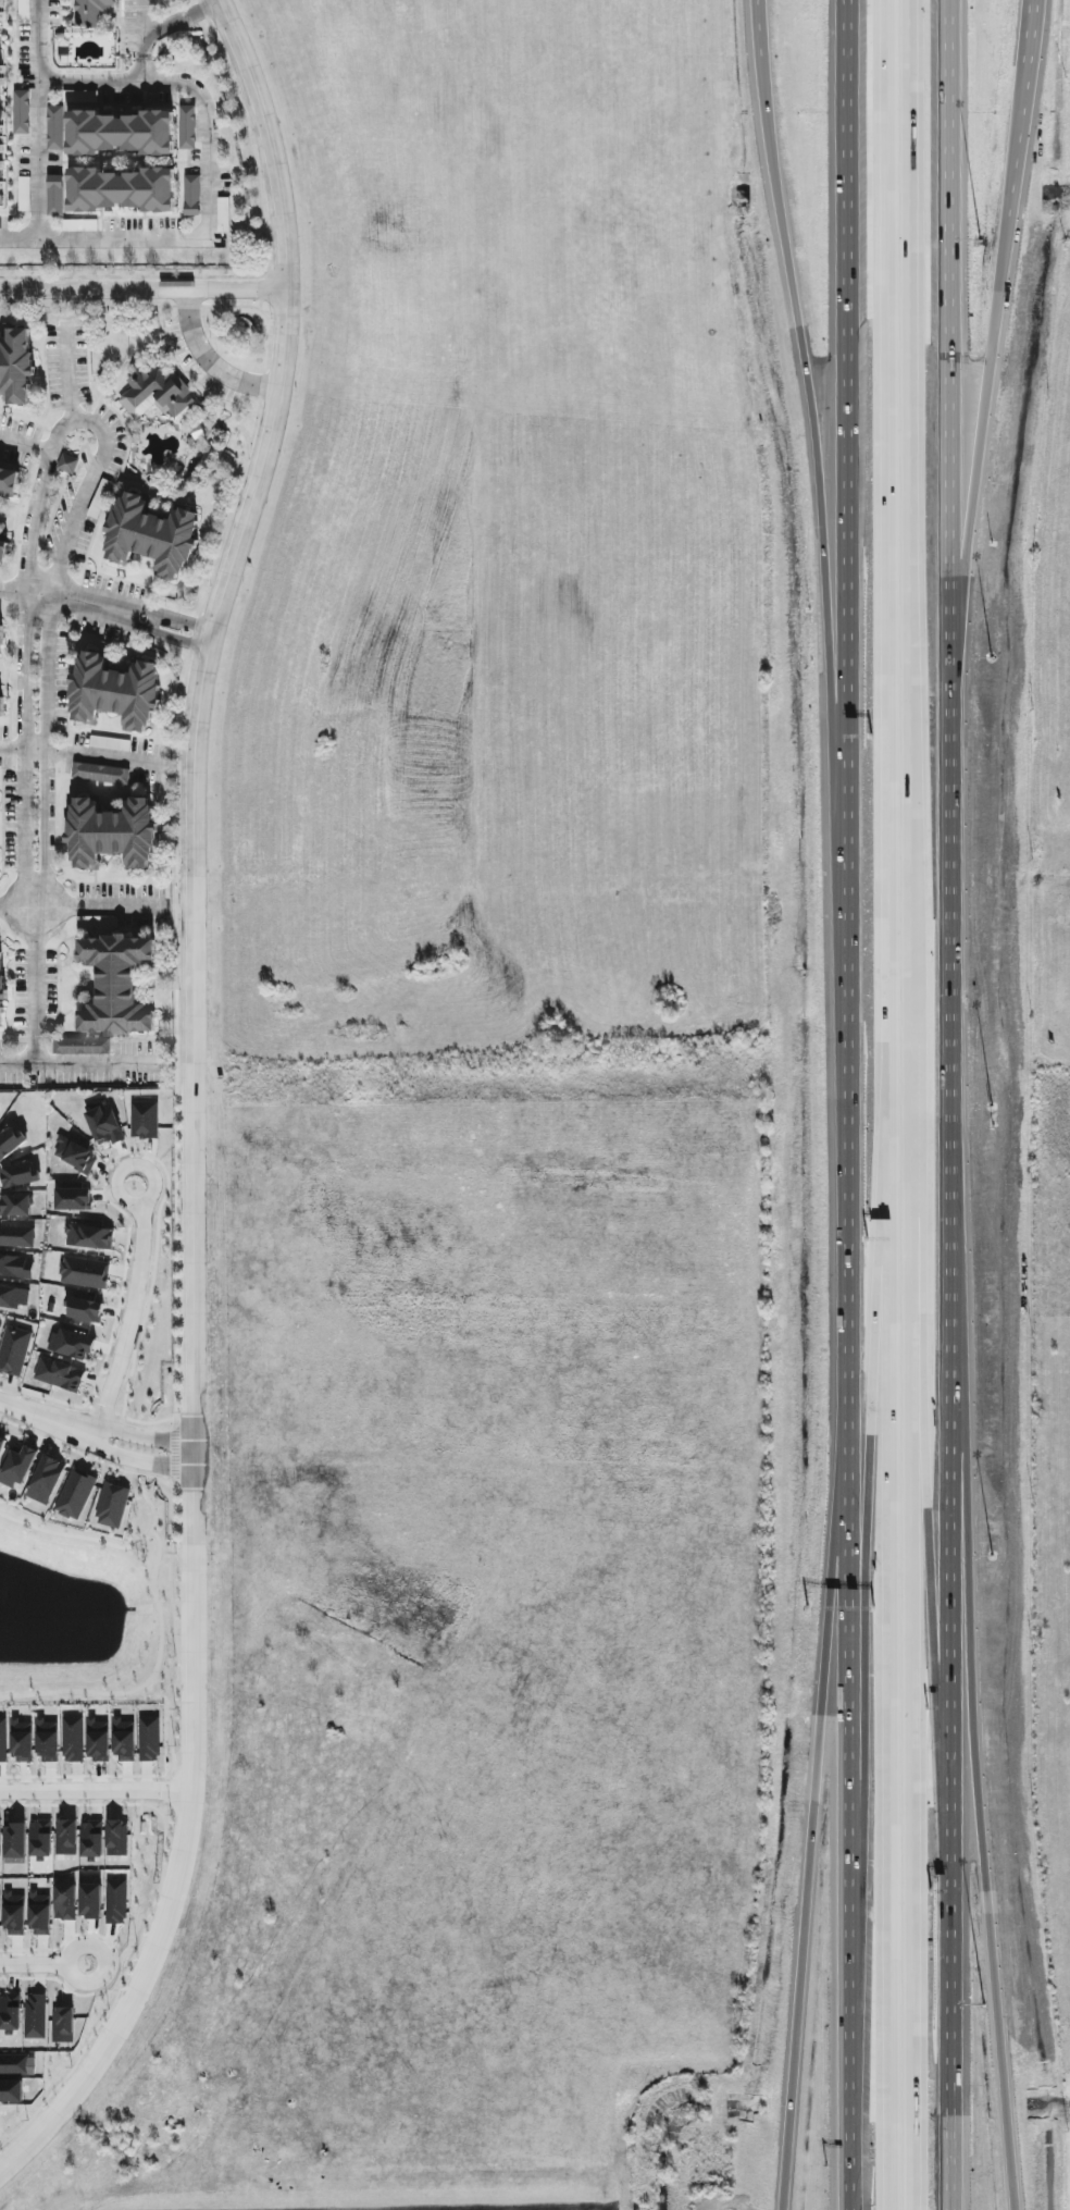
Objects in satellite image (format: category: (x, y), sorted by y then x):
building: (22, 9)
building: (91, 11)
road: (757, 17)
road: (178, 18)
road: (140, 27)
road: (1034, 32)
building: (1, 37)
road: (140, 67)
road: (188, 87)
building: (20, 111)
road: (35, 119)
building: (53, 126)
building: (186, 126)
building: (123, 129)
building: (2, 158)
road: (1018, 168)
building: (123, 186)
building: (23, 193)
building: (190, 194)
building: (53, 195)
building: (221, 213)
building: (78, 224)
road: (103, 237)
road: (144, 287)
road: (951, 303)
road: (207, 358)
building: (17, 363)
road: (847, 366)
road: (66, 372)
road: (808, 382)
building: (157, 392)
road: (980, 439)
road: (24, 441)
building: (66, 462)
building: (10, 479)
road: (87, 483)
building: (98, 497)
building: (150, 535)
building: (4, 546)
road: (71, 597)
road: (174, 628)
building: (2, 635)
building: (117, 690)
building: (2, 704)
road: (881, 708)
building: (108, 742)
road: (23, 745)
road: (104, 754)
building: (98, 771)
building: (113, 832)
road: (83, 905)
building: (98, 921)
building: (119, 985)
building: (2, 989)
road: (949, 1010)
building: (79, 1045)
road: (80, 1062)
road: (191, 1102)
road: (906, 1104)
building: (142, 1119)
building: (103, 1124)
road: (845, 1135)
building: (10, 1140)
building: (73, 1153)
building: (17, 1174)
building: (72, 1198)
building: (14, 1203)
building: (15, 1235)
building: (87, 1236)
building: (15, 1265)
building: (83, 1271)
building: (13, 1296)
building: (83, 1308)
road: (129, 1309)
building: (70, 1343)
building: (13, 1349)
building: (58, 1373)
road: (47, 1417)
road: (141, 1435)
building: (1, 1441)
road: (137, 1459)
building: (15, 1466)
building: (45, 1479)
road: (157, 1479)
road: (861, 1483)
building: (73, 1493)
building: (110, 1504)
road: (921, 1509)
road: (112, 1544)
road: (947, 1662)
road: (148, 1678)
building: (71, 1738)
building: (147, 1738)
building: (2, 1739)
building: (45, 1739)
building: (97, 1739)
building: (122, 1739)
building: (21, 1740)
road: (96, 1790)
road: (975, 1812)
road: (884, 1813)
road: (162, 1826)
building: (64, 1836)
building: (115, 1837)
building: (39, 1838)
building: (89, 1838)
building: (13, 1839)
road: (808, 1874)
road: (846, 1875)
building: (89, 1900)
building: (114, 1900)
building: (63, 1901)
building: (38, 1912)
building: (13, 1913)
building: (75, 1925)
building: (97, 1925)
building: (111, 1926)
road: (41, 1973)
building: (9, 2011)
building: (34, 2015)
building: (61, 2024)
road: (948, 2060)
building: (13, 2062)
building: (10, 2090)

